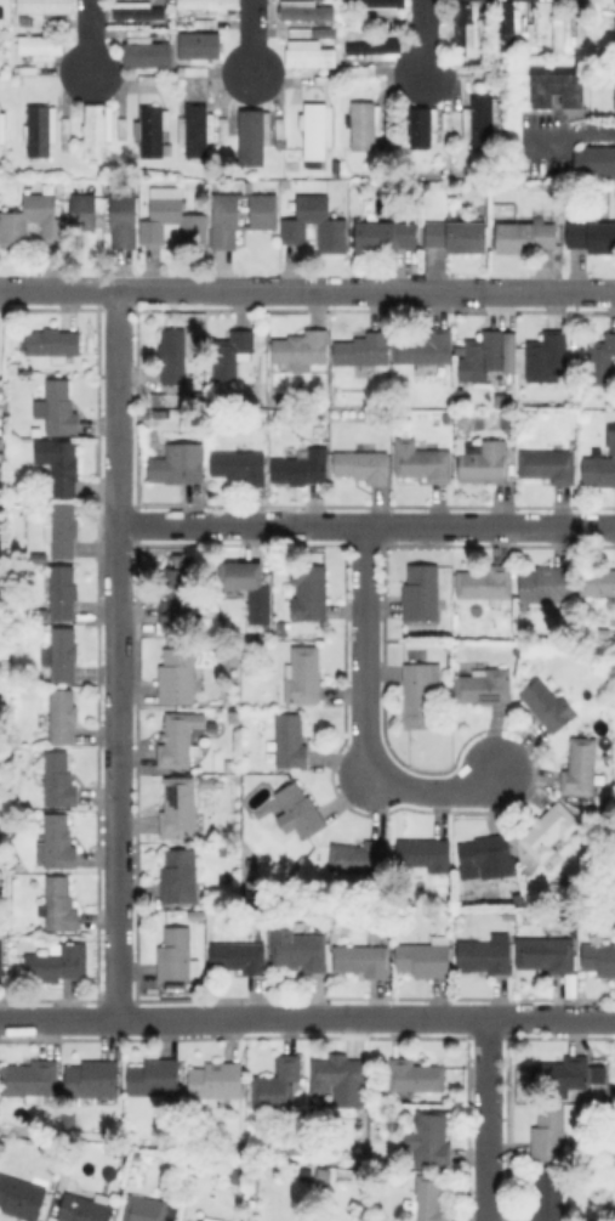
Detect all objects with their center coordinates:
building: (613, 1)
building: (370, 2)
building: (47, 6)
building: (207, 6)
building: (136, 10)
building: (306, 10)
building: (1, 13)
building: (45, 21)
building: (206, 22)
building: (377, 22)
building: (465, 27)
building: (483, 29)
building: (506, 29)
building: (138, 30)
building: (613, 30)
building: (559, 32)
building: (301, 33)
building: (580, 34)
road: (90, 38)
road: (254, 38)
road: (425, 38)
building: (41, 46)
building: (199, 47)
building: (376, 49)
building: (147, 52)
building: (309, 56)
building: (29, 69)
building: (364, 69)
building: (189, 70)
building: (0, 78)
building: (150, 79)
building: (326, 79)
building: (553, 89)
building: (613, 92)
building: (482, 120)
building: (364, 124)
building: (2, 126)
building: (423, 126)
building: (123, 128)
building: (446, 128)
building: (40, 129)
building: (97, 129)
building: (223, 129)
building: (152, 130)
building: (197, 130)
building: (67, 132)
building: (280, 132)
road: (591, 132)
building: (391, 134)
building: (317, 135)
building: (252, 136)
building: (488, 156)
building: (592, 160)
building: (335, 168)
building: (107, 215)
building: (241, 215)
building: (33, 219)
building: (173, 222)
building: (332, 232)
building: (385, 236)
building: (457, 236)
building: (524, 237)
building: (592, 237)
road: (307, 289)
building: (53, 344)
building: (301, 349)
building: (364, 350)
building: (230, 352)
building: (427, 352)
building: (172, 355)
building: (484, 355)
building: (546, 356)
building: (602, 362)
building: (15, 366)
building: (445, 400)
building: (460, 400)
building: (502, 400)
building: (57, 408)
building: (160, 412)
building: (320, 414)
building: (36, 431)
building: (423, 460)
building: (484, 462)
building: (240, 464)
building: (177, 465)
building: (364, 465)
building: (548, 465)
building: (302, 467)
building: (64, 468)
building: (600, 468)
building: (2, 510)
road: (366, 525)
building: (62, 530)
building: (239, 577)
building: (597, 581)
building: (485, 582)
building: (548, 587)
building: (61, 592)
building: (311, 593)
building: (421, 593)
building: (177, 597)
building: (600, 629)
building: (281, 634)
road: (366, 650)
building: (63, 654)
road: (118, 654)
building: (303, 674)
building: (177, 675)
building: (483, 684)
building: (417, 695)
rooftop solar panel: (486, 695)
building: (547, 705)
building: (62, 716)
building: (234, 717)
building: (178, 740)
building: (290, 740)
building: (580, 767)
building: (59, 780)
road: (431, 782)
rooftop solar panel: (170, 795)
building: (36, 803)
building: (178, 808)
building: (590, 808)
building: (298, 810)
building: (551, 829)
building: (58, 842)
building: (218, 842)
building: (425, 854)
building: (359, 857)
rooftop solar panel: (476, 857)
building: (486, 857)
rooftop solar panel: (489, 860)
rooftop solar panel: (490, 871)
building: (180, 876)
building: (519, 897)
building: (58, 904)
building: (570, 911)
building: (508, 915)
building: (298, 946)
building: (485, 954)
building: (546, 954)
building: (176, 955)
building: (239, 956)
building: (426, 957)
building: (599, 957)
building: (363, 960)
building: (57, 961)
road: (307, 1018)
building: (562, 1073)
building: (415, 1075)
building: (154, 1076)
building: (92, 1078)
building: (30, 1079)
building: (216, 1080)
building: (340, 1081)
building: (278, 1087)
road: (486, 1119)
building: (549, 1134)
building: (429, 1140)
building: (116, 1147)
building: (592, 1148)
building: (321, 1171)
building: (109, 1172)
building: (234, 1174)
building: (133, 1180)
building: (548, 1195)
building: (21, 1197)
building: (429, 1199)
building: (86, 1208)
building: (144, 1209)
building: (207, 1219)

